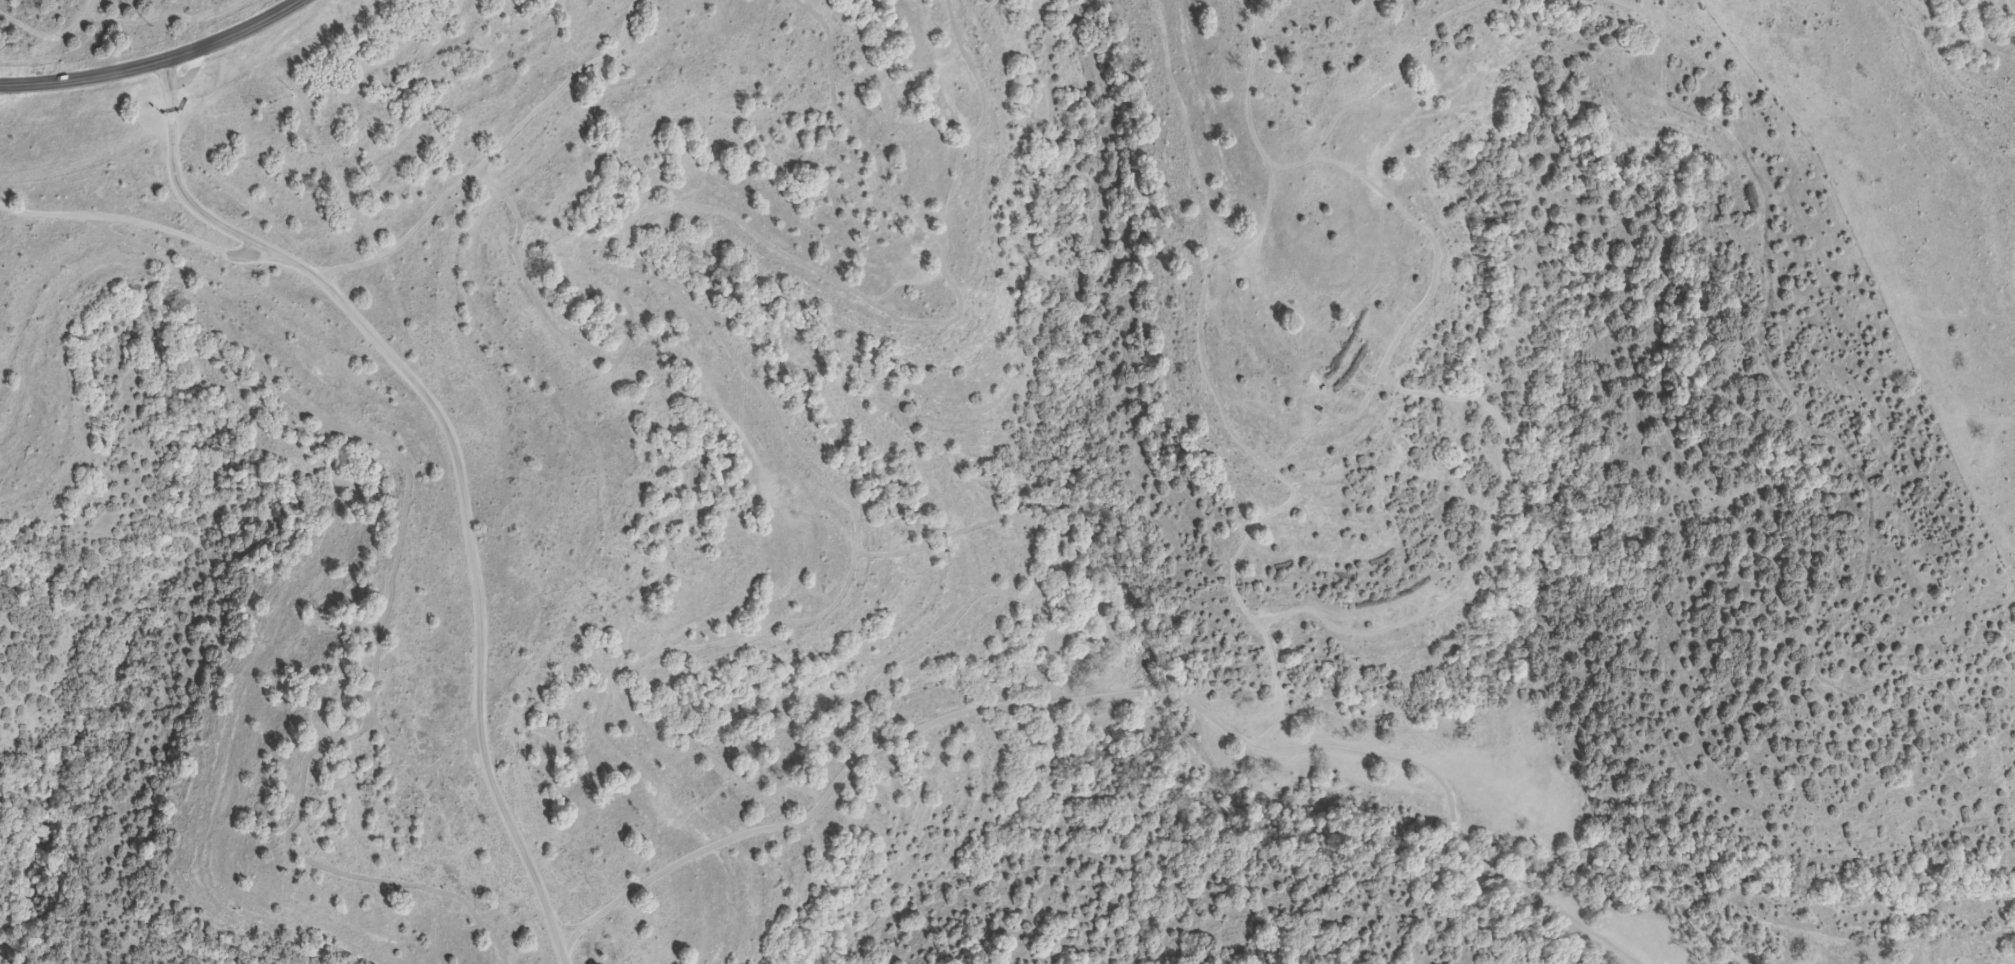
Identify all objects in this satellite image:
road: (155, 63)
road: (461, 455)

